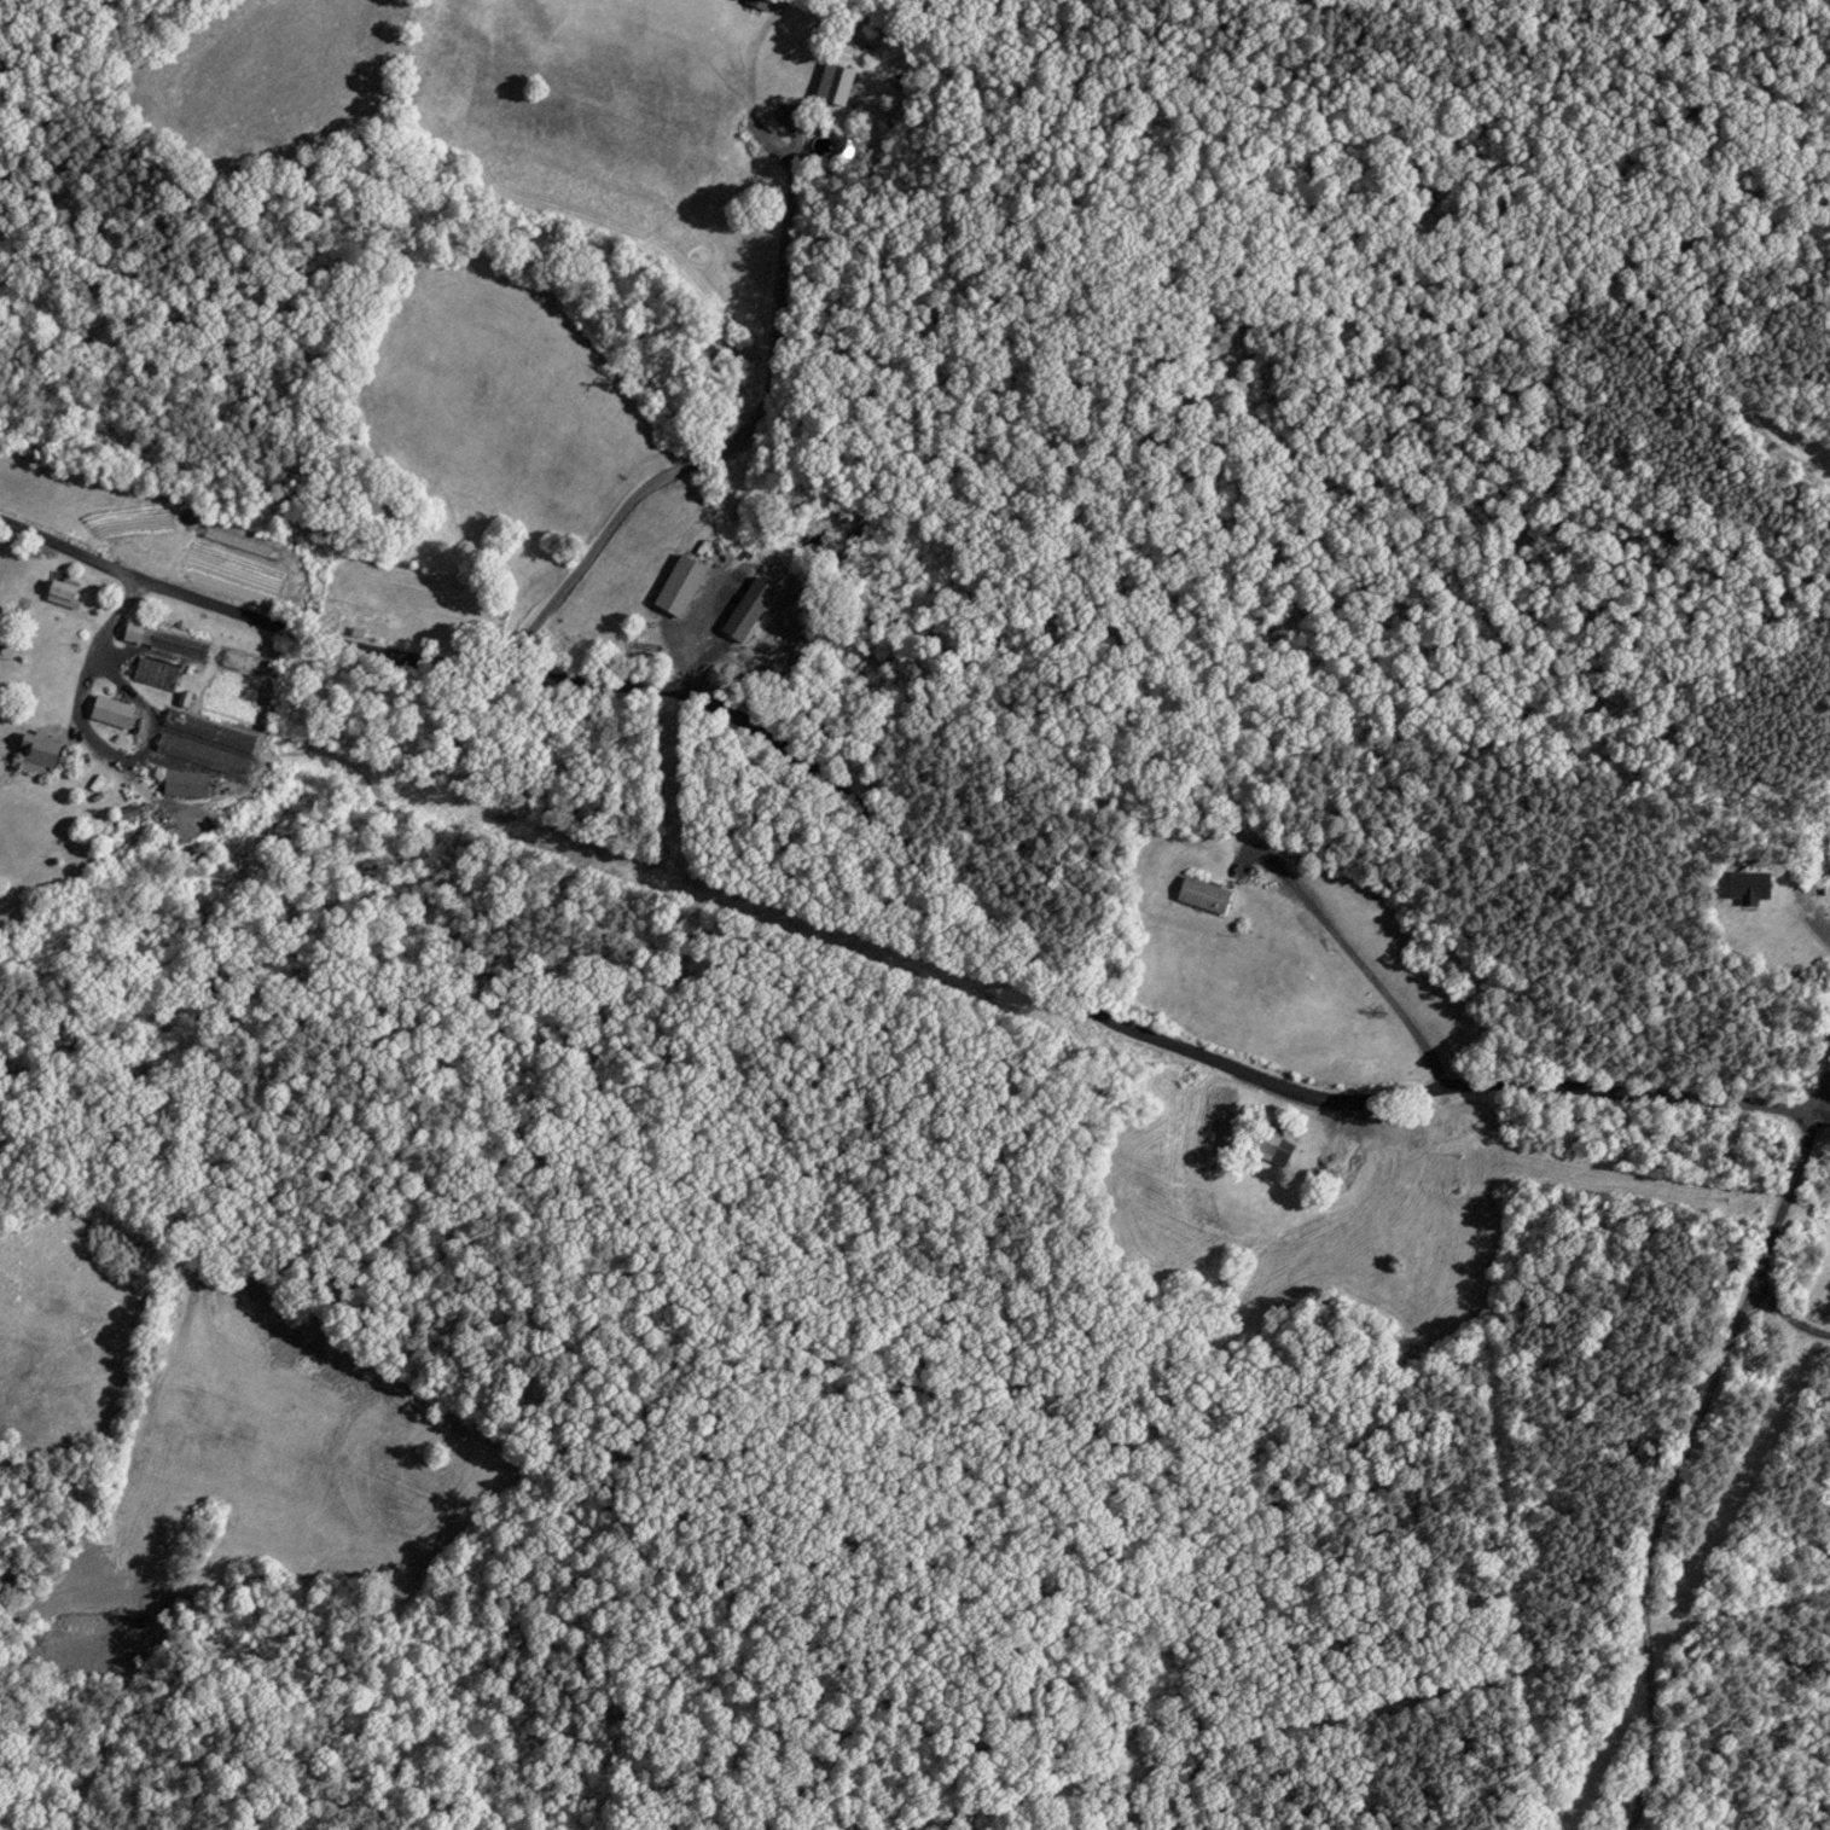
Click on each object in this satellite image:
building: (760, 4)
building: (835, 82)
building: (240, 541)
building: (680, 583)
building: (62, 591)
building: (748, 608)
building: (167, 640)
building: (156, 673)
building: (112, 710)
building: (210, 730)
building: (37, 754)
building: (186, 783)
road: (911, 856)
building: (1750, 887)
building: (1204, 894)
building: (1274, 1145)

